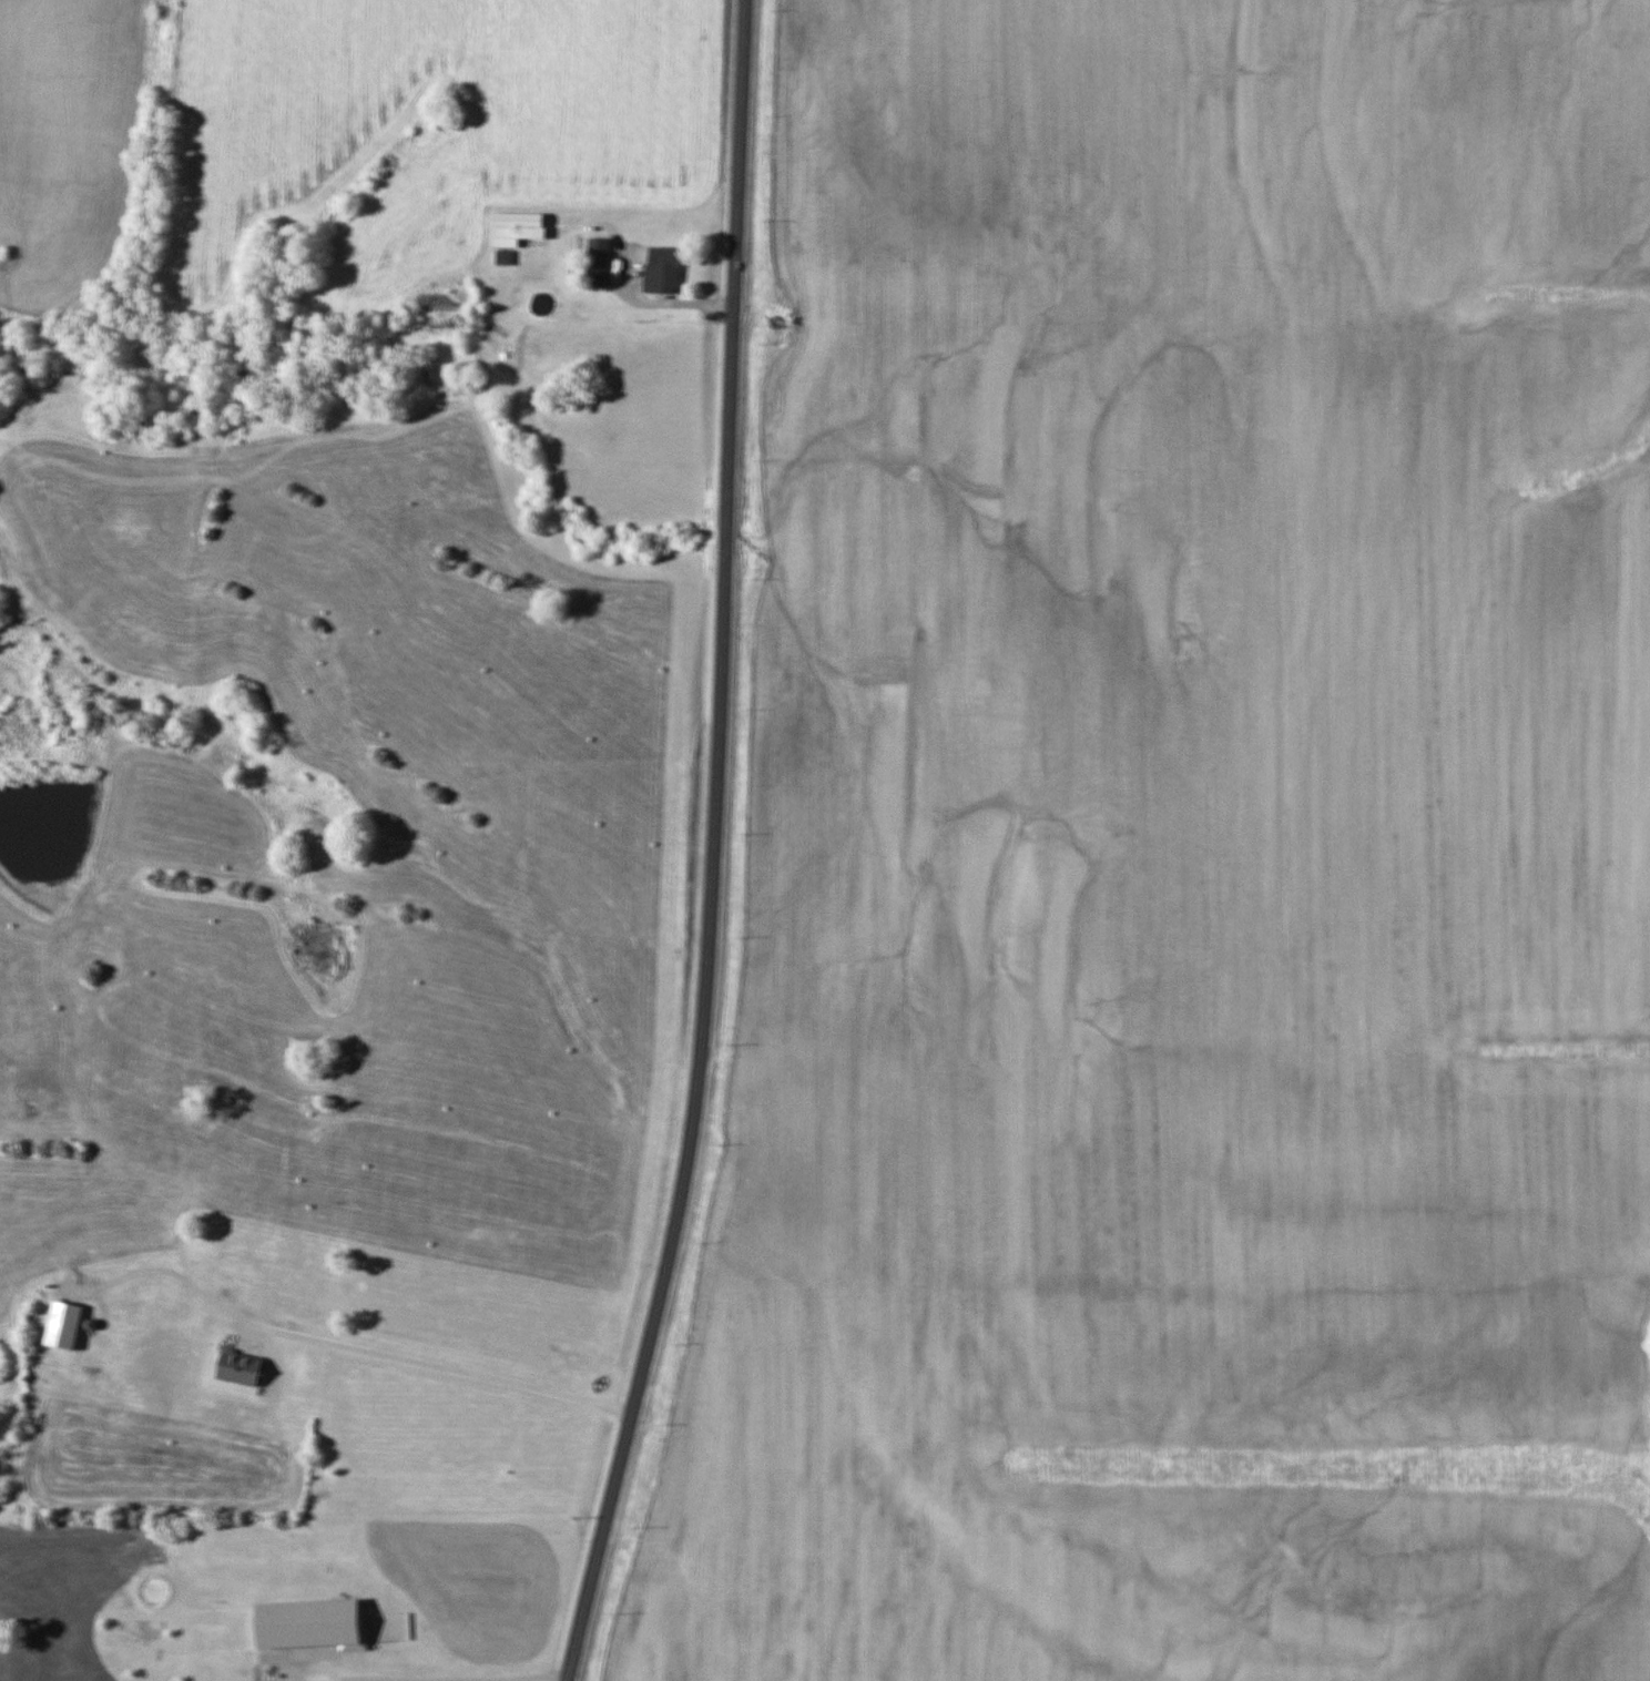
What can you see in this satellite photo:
building: (516, 228)
building: (502, 257)
building: (597, 262)
building: (662, 271)
road: (651, 298)
road: (710, 847)
road: (354, 1349)
building: (240, 1367)
building: (310, 1624)
road: (441, 1680)

